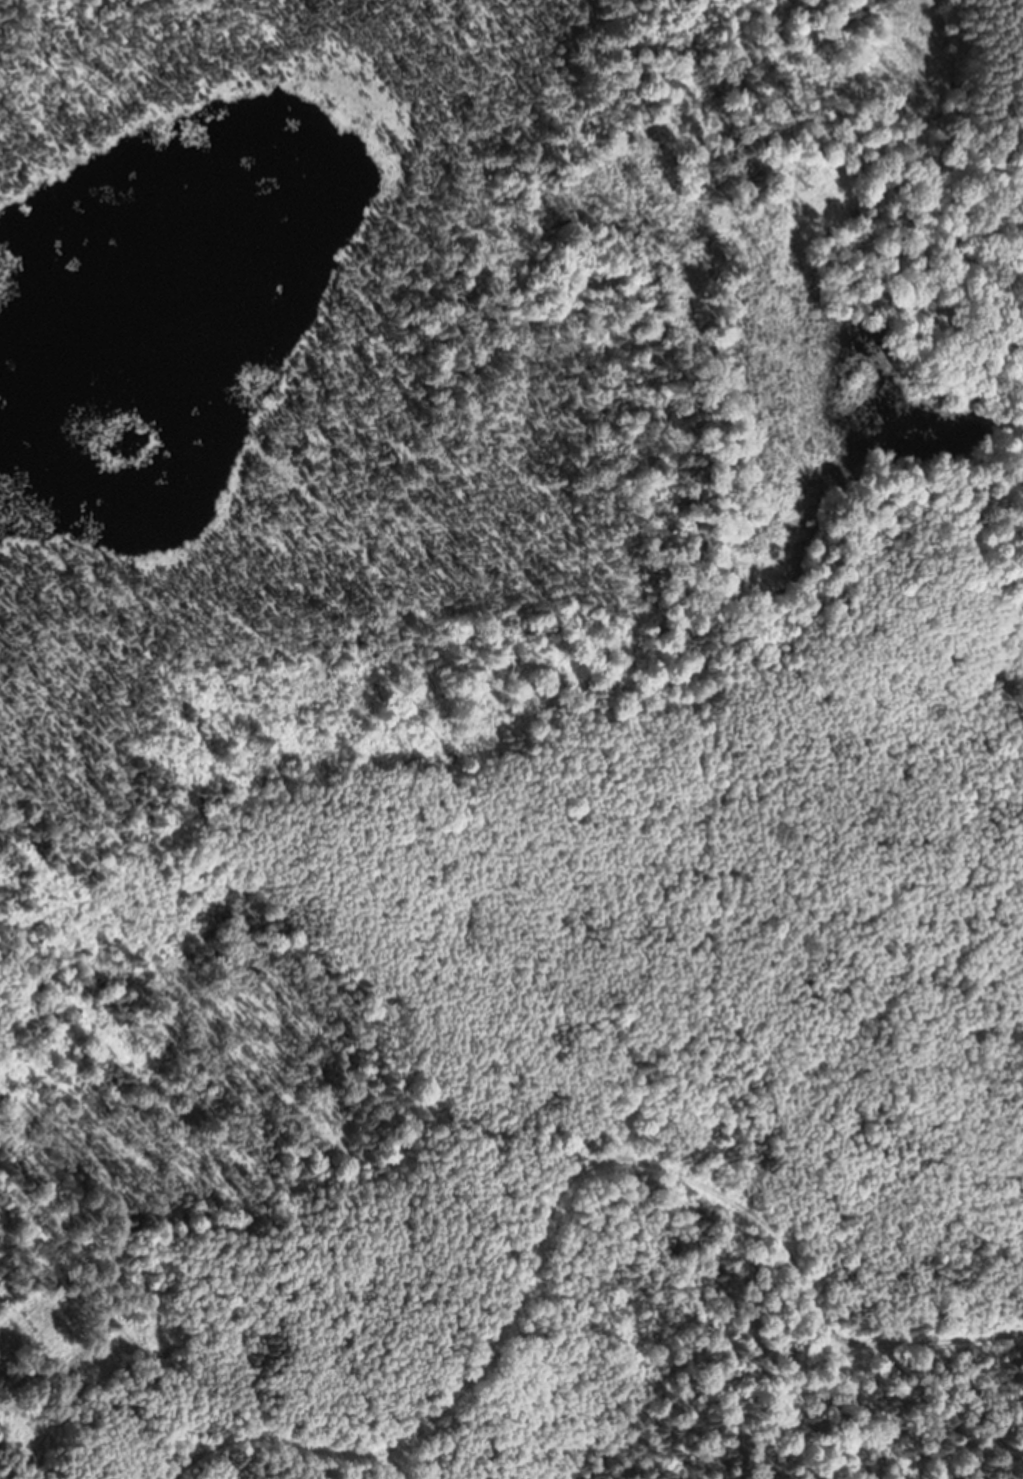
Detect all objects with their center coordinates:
road: (565, 1190)

